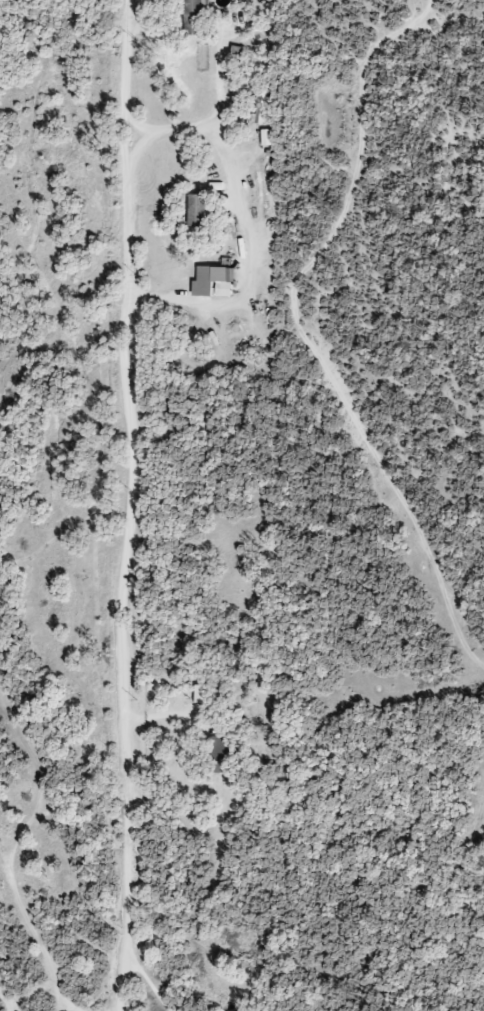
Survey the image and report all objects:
building: (193, 17)
road: (217, 85)
building: (260, 111)
building: (265, 138)
road: (139, 150)
building: (196, 210)
road: (247, 220)
building: (213, 283)
road: (129, 505)
building: (200, 695)
building: (220, 759)

